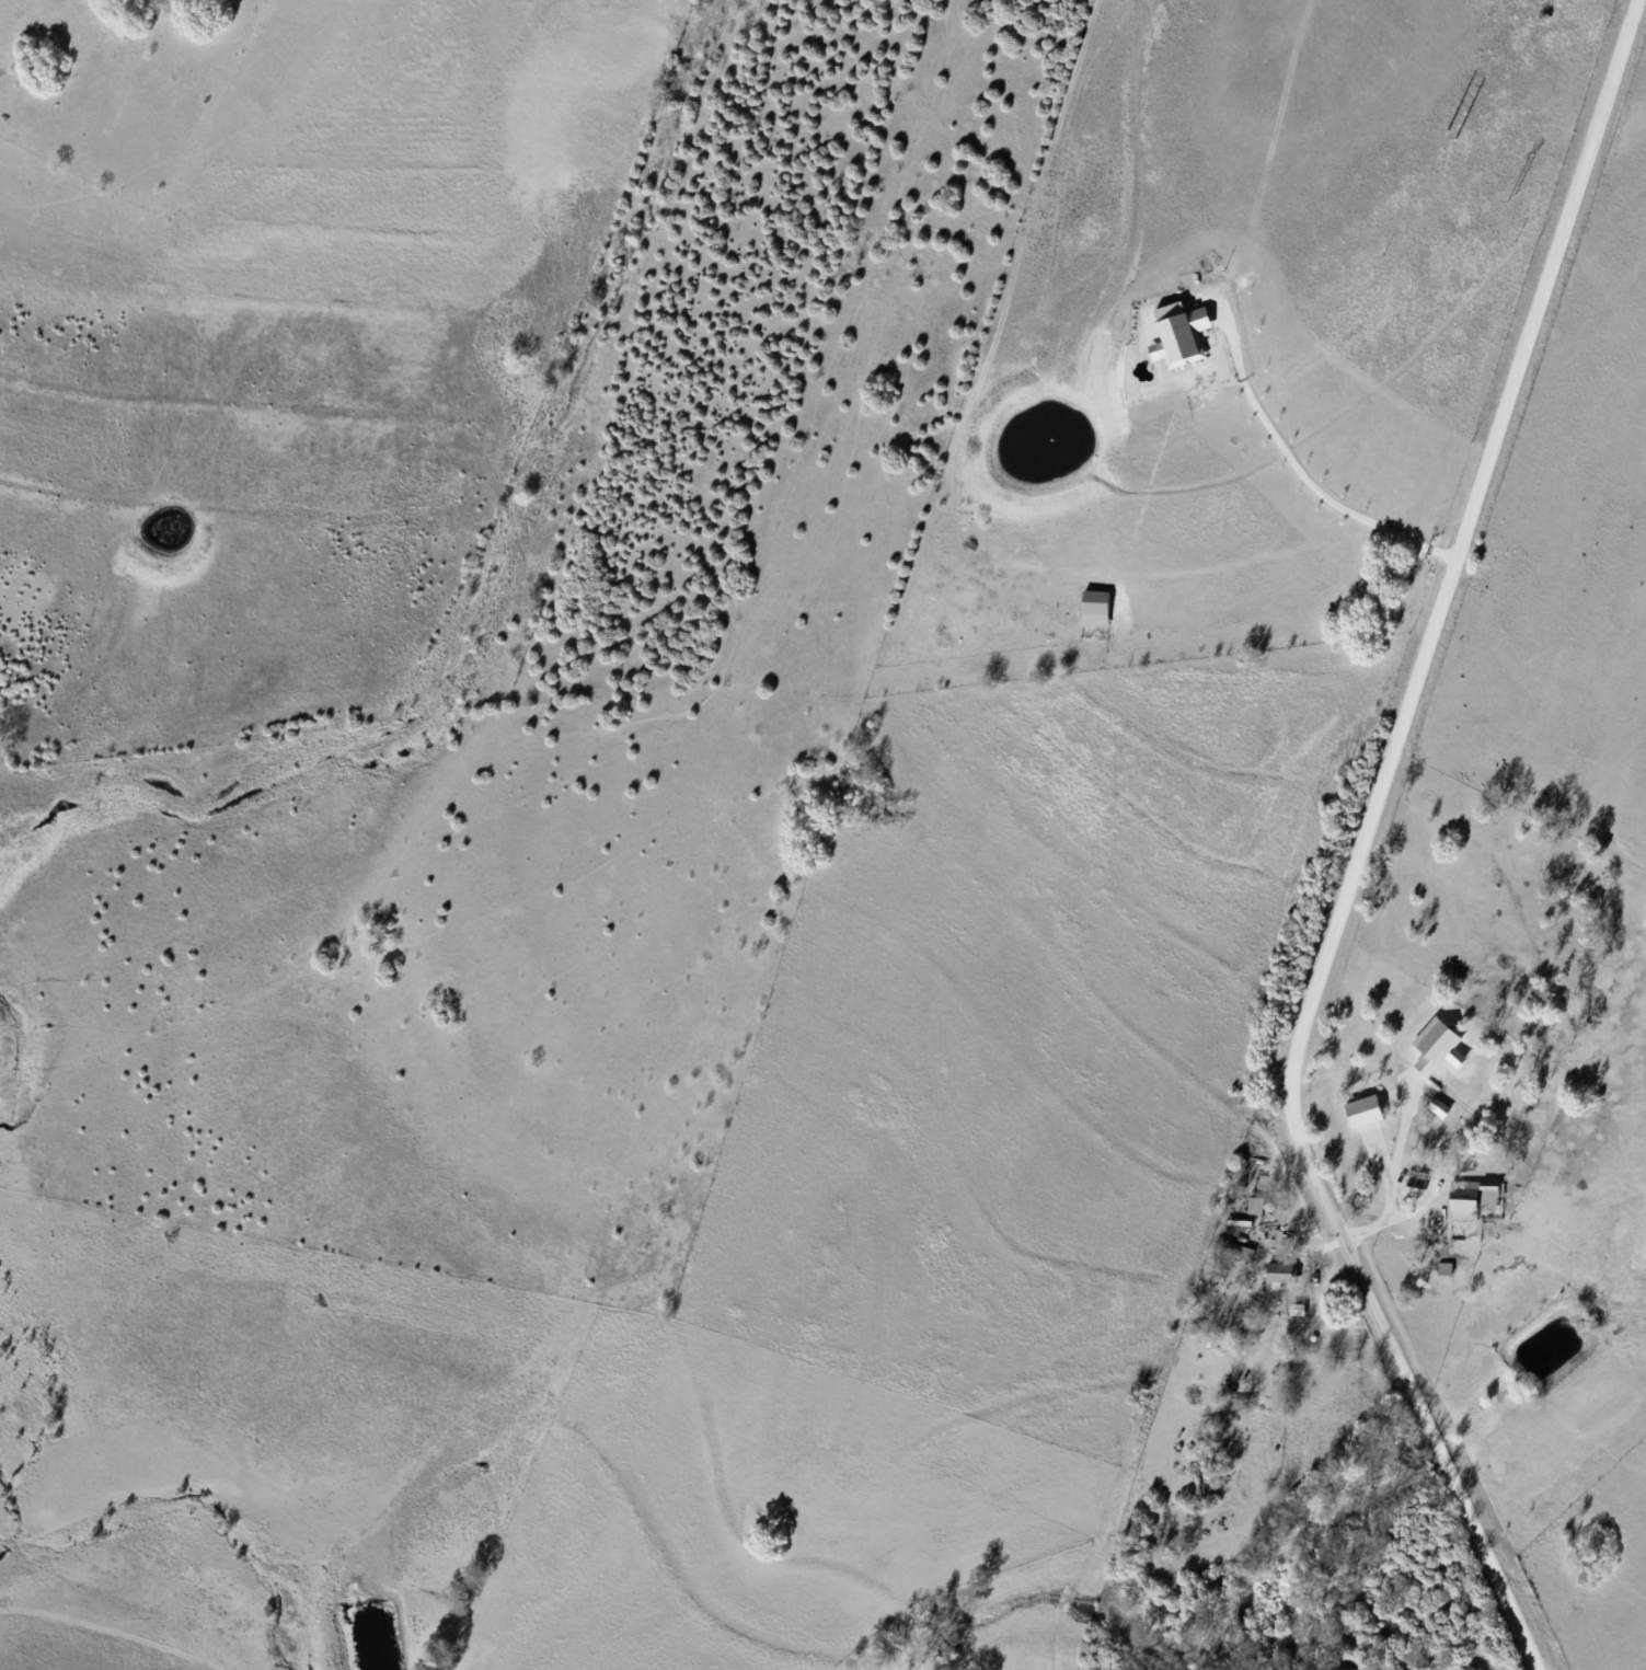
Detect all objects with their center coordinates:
power tower: (1446, 130)
power tower: (1453, 139)
power tower: (1509, 197)
building: (1095, 608)
road: (1359, 845)
building: (1448, 1119)
building: (1473, 1198)
building: (1255, 1205)
building: (1224, 1247)
building: (1280, 1271)
building: (1231, 1407)

